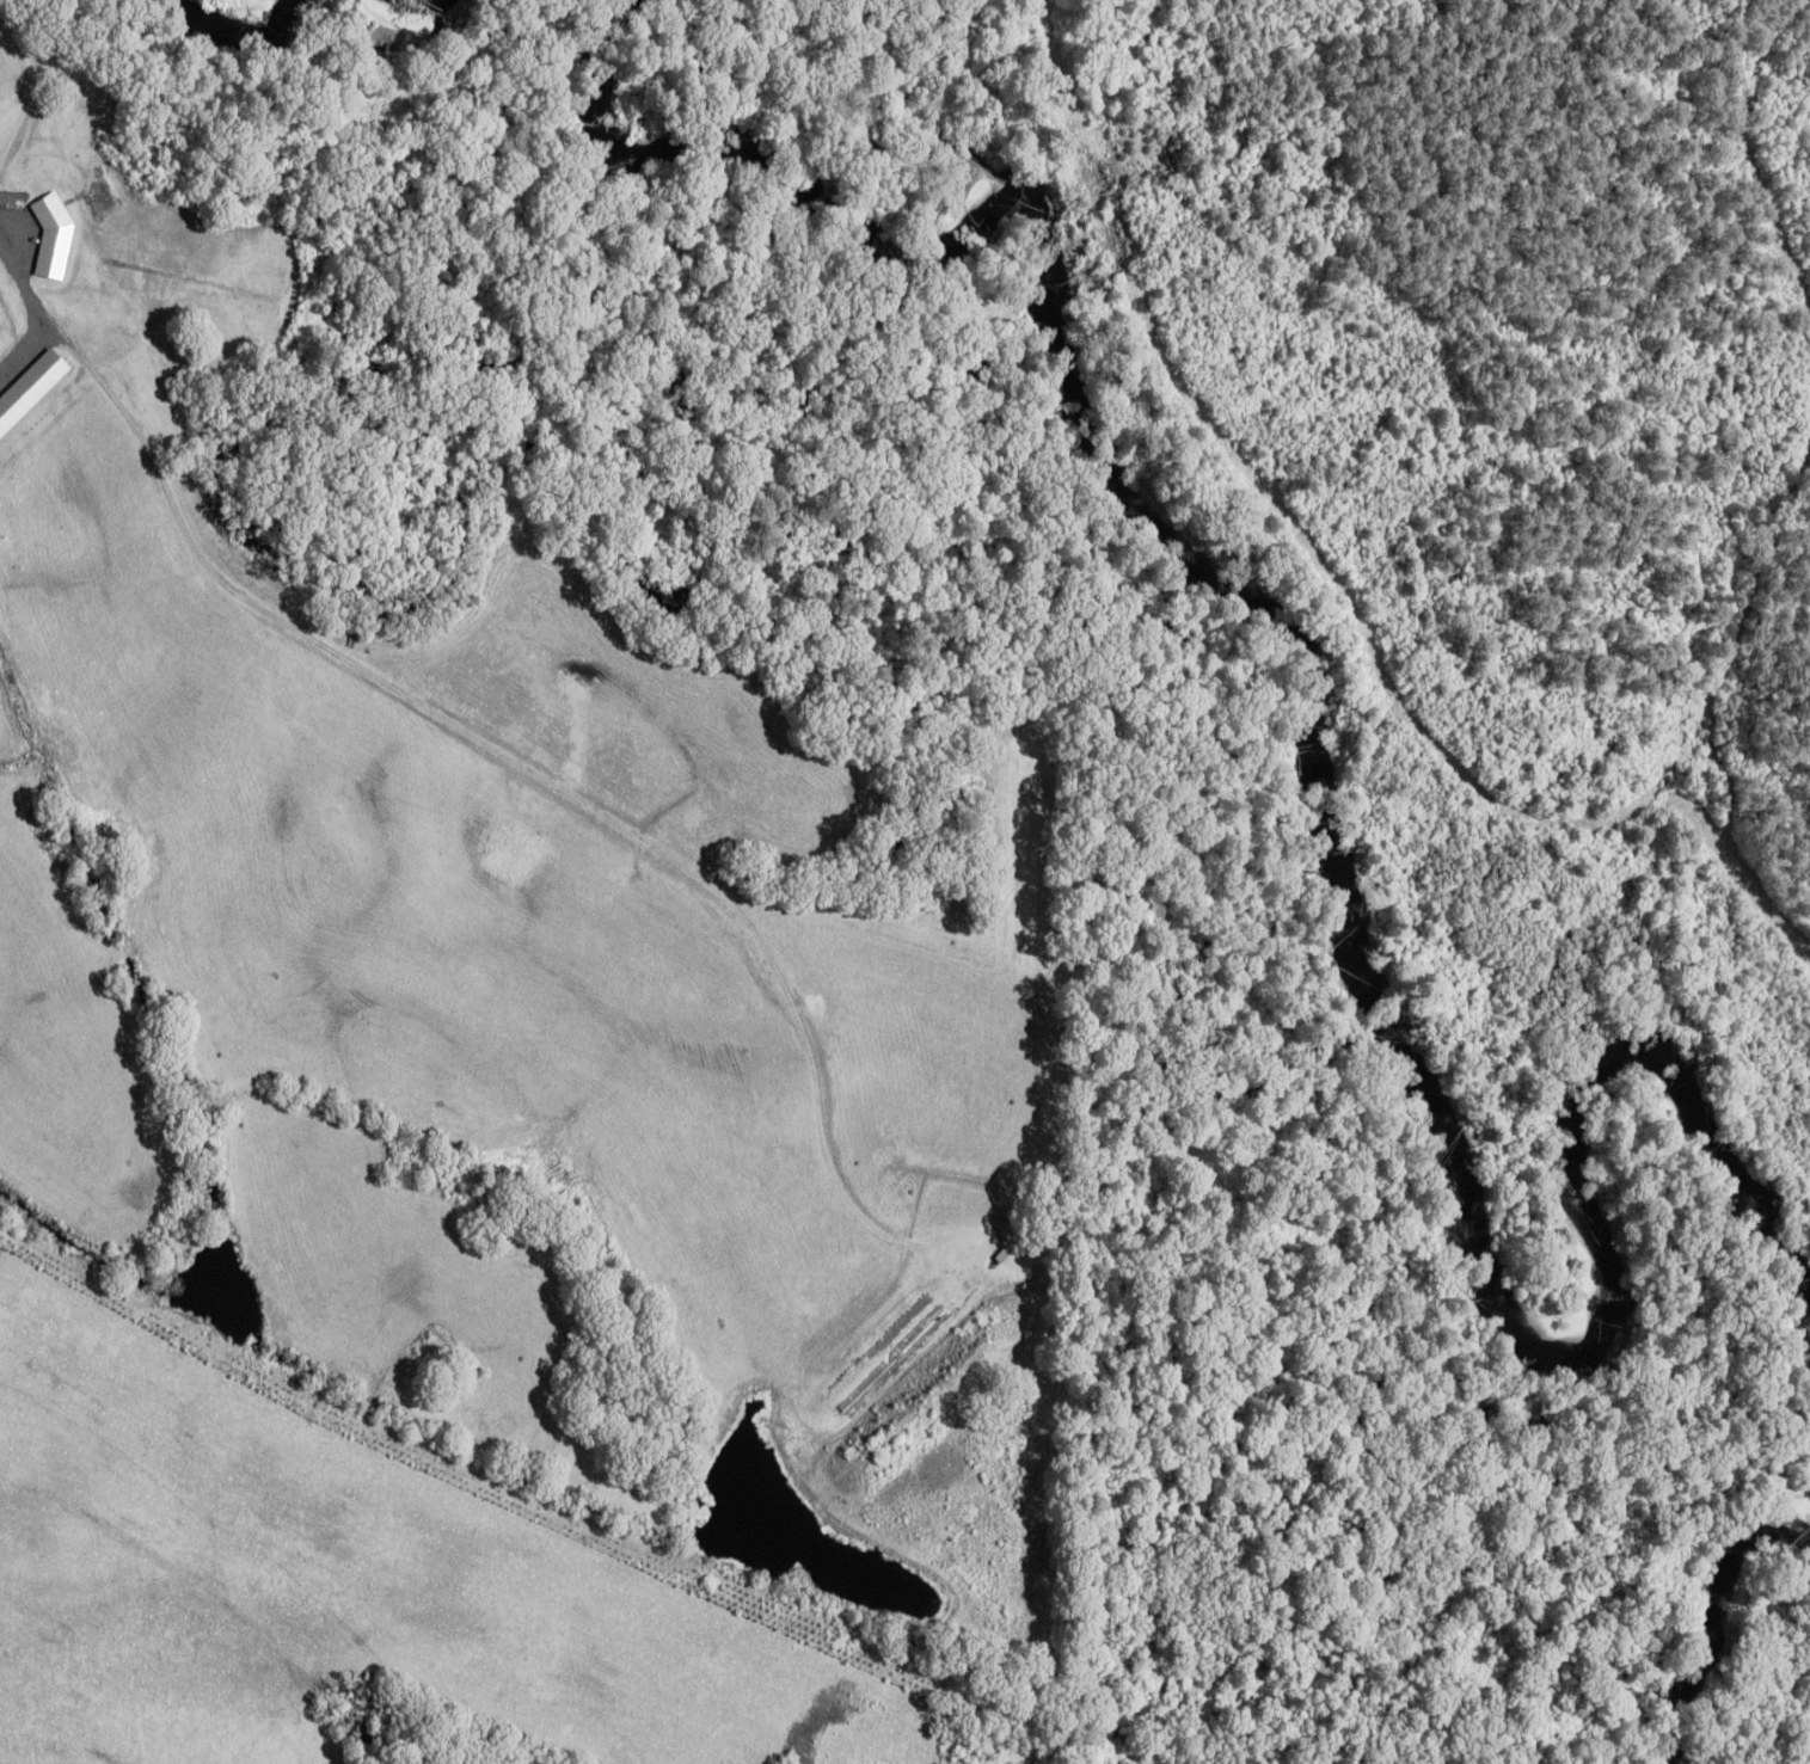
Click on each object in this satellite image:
river: (231, 31)
road: (472, 738)
river: (1315, 783)
building: (1350, 946)
river: (1713, 1617)

